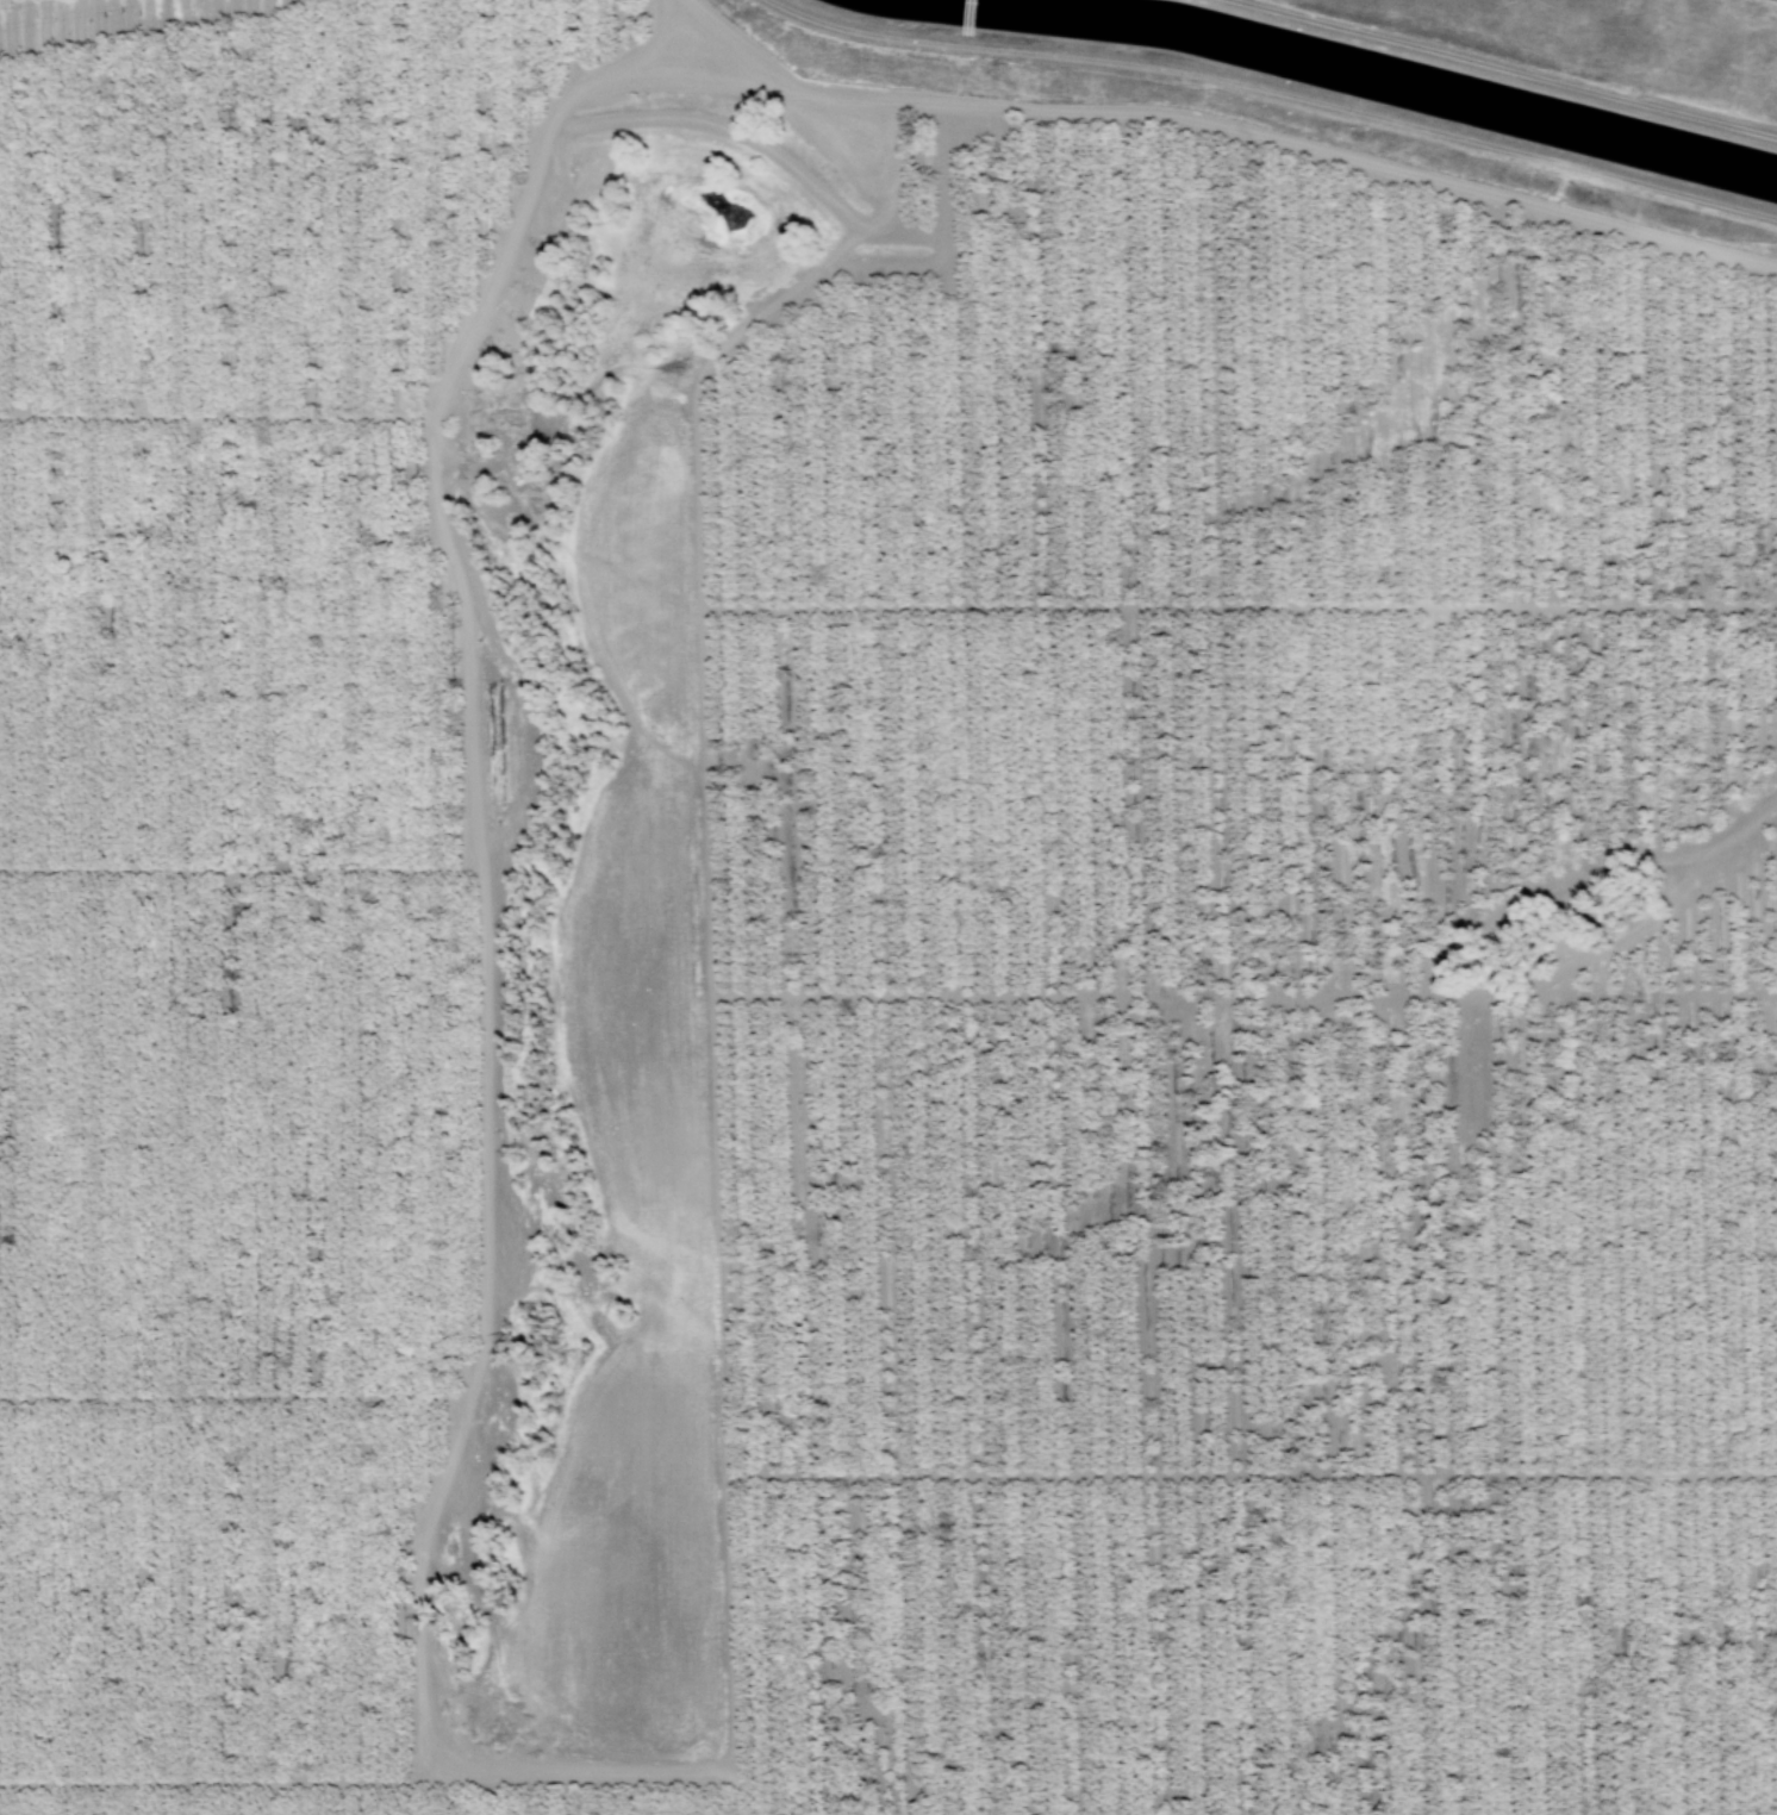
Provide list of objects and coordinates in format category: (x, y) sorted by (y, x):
road: (624, 54)
road: (790, 80)
road: (1349, 157)
road: (218, 414)
road: (1239, 606)
road: (1583, 867)
road: (238, 869)
road: (1651, 921)
road: (1243, 994)
road: (233, 1398)
road: (1252, 1473)
road: (413, 1620)
road: (226, 1782)

